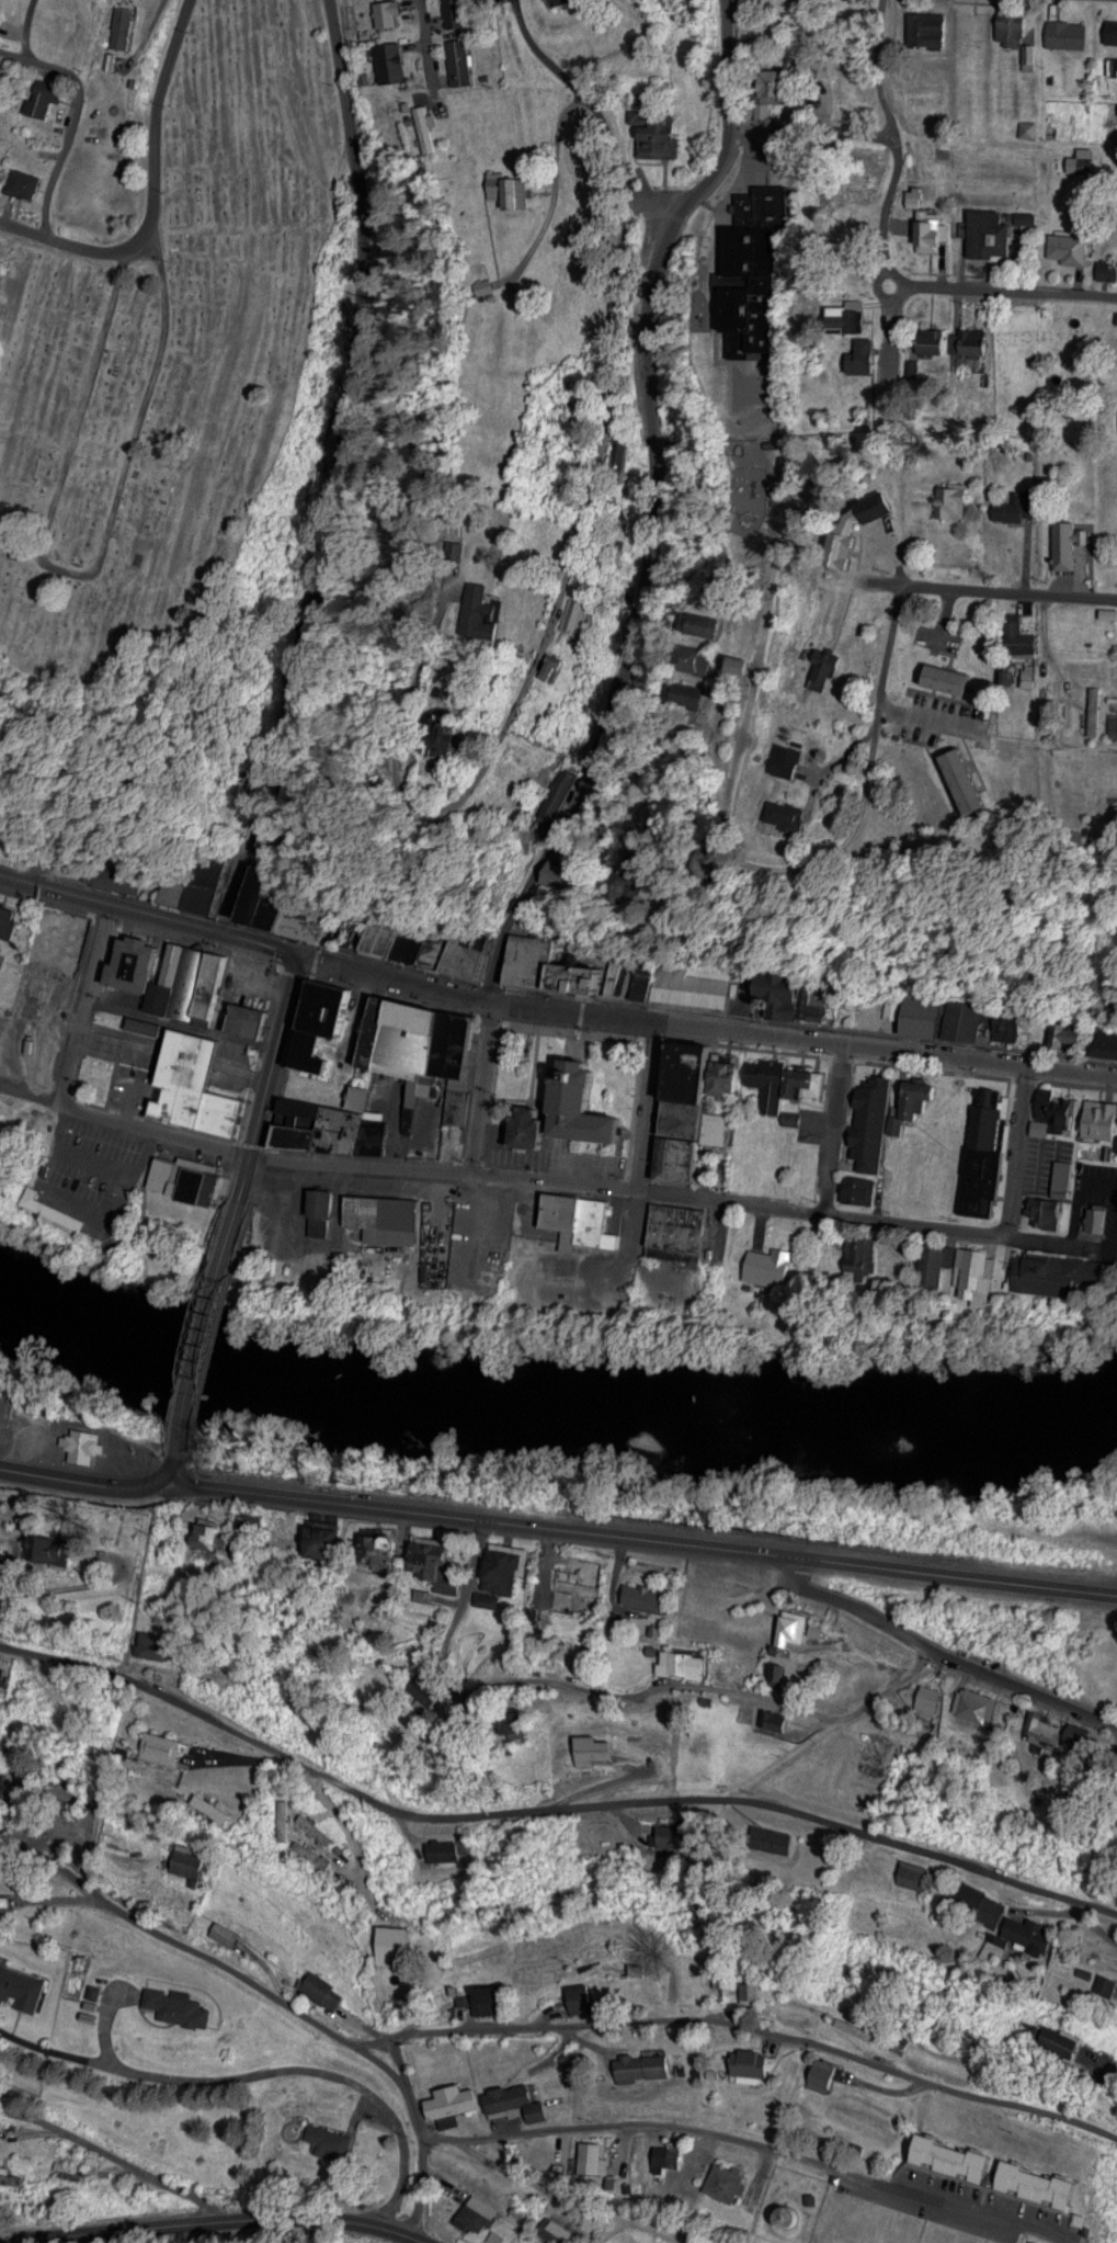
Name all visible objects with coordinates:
building: (0, 10)
building: (391, 12)
building: (457, 12)
building: (125, 23)
road: (23, 26)
road: (522, 26)
building: (1012, 26)
building: (930, 30)
building: (1109, 31)
building: (1065, 33)
road: (144, 38)
road: (440, 56)
building: (464, 60)
building: (395, 61)
road: (41, 65)
building: (779, 81)
building: (50, 107)
road: (157, 114)
road: (612, 127)
building: (429, 128)
road: (816, 128)
building: (661, 133)
road: (897, 138)
road: (55, 161)
parking lot: (749, 167)
road: (734, 180)
building: (26, 181)
road: (546, 184)
building: (934, 230)
building: (990, 236)
road: (78, 240)
building: (1065, 256)
building: (1108, 267)
building: (755, 270)
road: (1008, 285)
road: (888, 295)
building: (851, 315)
parking lot: (639, 327)
building: (935, 339)
building: (974, 340)
park: (170, 351)
building: (867, 354)
road: (331, 468)
road: (647, 496)
building: (956, 498)
building: (1017, 506)
building: (859, 525)
building: (1065, 554)
road: (87, 570)
road: (901, 571)
road: (988, 587)
building: (499, 609)
building: (583, 613)
building: (706, 628)
building: (1022, 638)
road: (555, 642)
building: (693, 657)
building: (740, 664)
building: (563, 667)
building: (830, 668)
building: (950, 688)
building: (688, 692)
building: (1097, 709)
building: (1115, 723)
building: (475, 739)
building: (801, 757)
building: (971, 779)
building: (558, 792)
building: (810, 808)
building: (734, 856)
building: (569, 862)
building: (646, 870)
building: (125, 877)
road: (779, 879)
building: (210, 883)
building: (179, 890)
building: (277, 896)
road: (149, 914)
building: (8, 917)
building: (318, 918)
building: (412, 945)
building: (437, 950)
building: (472, 952)
building: (175, 960)
building: (537, 960)
building: (141, 961)
parking lot: (263, 973)
building: (589, 974)
building: (624, 975)
building: (647, 977)
building: (194, 981)
building: (218, 983)
building: (694, 986)
building: (786, 989)
building: (167, 995)
road: (83, 1001)
building: (337, 1005)
building: (924, 1012)
building: (255, 1018)
road: (707, 1021)
building: (1001, 1023)
building: (386, 1027)
building: (1059, 1033)
building: (422, 1035)
building: (1103, 1041)
building: (466, 1042)
road: (173, 1050)
building: (316, 1050)
building: (699, 1067)
road: (270, 1075)
building: (773, 1079)
building: (811, 1079)
building: (201, 1084)
road: (487, 1084)
road: (27, 1089)
road: (133, 1098)
building: (460, 1098)
building: (916, 1099)
building: (0, 1102)
building: (590, 1102)
road: (653, 1103)
building: (1058, 1111)
building: (689, 1117)
building: (2, 1118)
building: (303, 1122)
road: (836, 1126)
road: (152, 1128)
building: (346, 1128)
building: (874, 1128)
building: (1101, 1128)
road: (1017, 1146)
building: (988, 1149)
building: (686, 1157)
road: (94, 1163)
parking lot: (89, 1169)
building: (1065, 1174)
building: (192, 1178)
building: (862, 1187)
road: (629, 1189)
road: (1080, 1191)
building: (329, 1200)
road: (82, 1207)
building: (386, 1216)
building: (1101, 1217)
building: (581, 1219)
building: (682, 1224)
building: (322, 1225)
road: (1041, 1236)
parking lot: (483, 1242)
road: (1097, 1243)
building: (862, 1256)
building: (972, 1271)
building: (1058, 1272)
building: (771, 1276)
road: (209, 1326)
river: (549, 1400)
building: (80, 1453)
road: (169, 1466)
road: (78, 1481)
building: (251, 1521)
building: (288, 1528)
road: (663, 1537)
building: (324, 1541)
building: (52, 1549)
building: (386, 1551)
building: (441, 1561)
building: (506, 1566)
road: (950, 1571)
road: (106, 1579)
building: (580, 1585)
road: (35, 1588)
building: (646, 1596)
building: (793, 1628)
building: (155, 1643)
building: (780, 1672)
road: (309, 1673)
road: (571, 1686)
road: (886, 1687)
building: (924, 1701)
building: (25, 1710)
building: (775, 1718)
building: (1037, 1730)
building: (1073, 1734)
building: (163, 1746)
building: (595, 1747)
road: (615, 1778)
building: (213, 1806)
road: (550, 1806)
road: (399, 1823)
building: (318, 1827)
building: (673, 1838)
building: (766, 1840)
building: (445, 1848)
building: (192, 1860)
building: (917, 1869)
building: (1030, 1932)
building: (228, 1934)
building: (398, 1951)
building: (326, 1983)
building: (1107, 1983)
building: (21, 1984)
building: (754, 1992)
building: (494, 1997)
building: (581, 1997)
building: (182, 2004)
building: (852, 2026)
road: (542, 2034)
road: (7, 2036)
building: (1065, 2040)
building: (753, 2062)
building: (637, 2066)
road: (402, 2070)
road: (1039, 2075)
road: (262, 2083)
building: (454, 2102)
building: (504, 2102)
building: (533, 2111)
road: (424, 2128)
building: (331, 2137)
road: (746, 2152)
building: (670, 2157)
building: (961, 2157)
building: (593, 2159)
road: (122, 2167)
building: (11, 2175)
building: (726, 2183)
building: (1044, 2183)
building: (474, 2214)
road: (220, 2218)
building: (793, 2220)
building: (1094, 2221)
building: (558, 2232)
building: (851, 2239)

